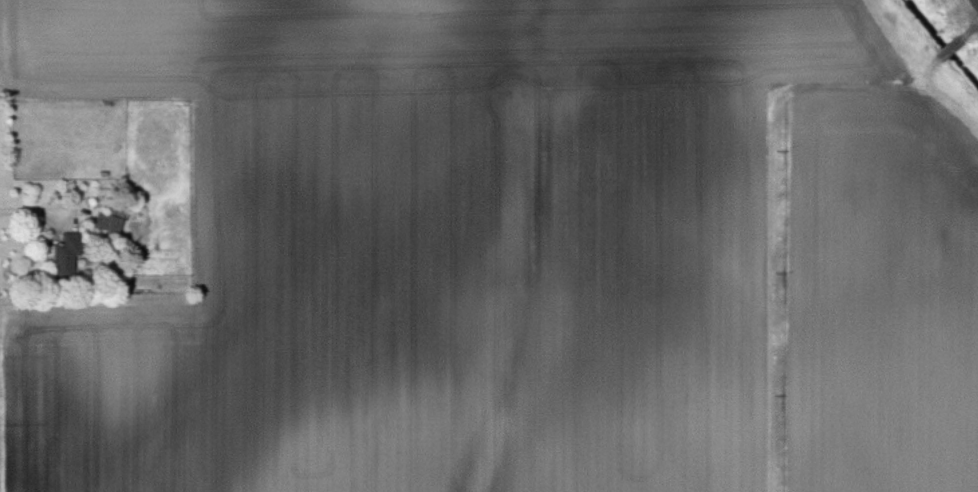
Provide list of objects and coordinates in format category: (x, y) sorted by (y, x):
building: (113, 223)
building: (70, 255)

